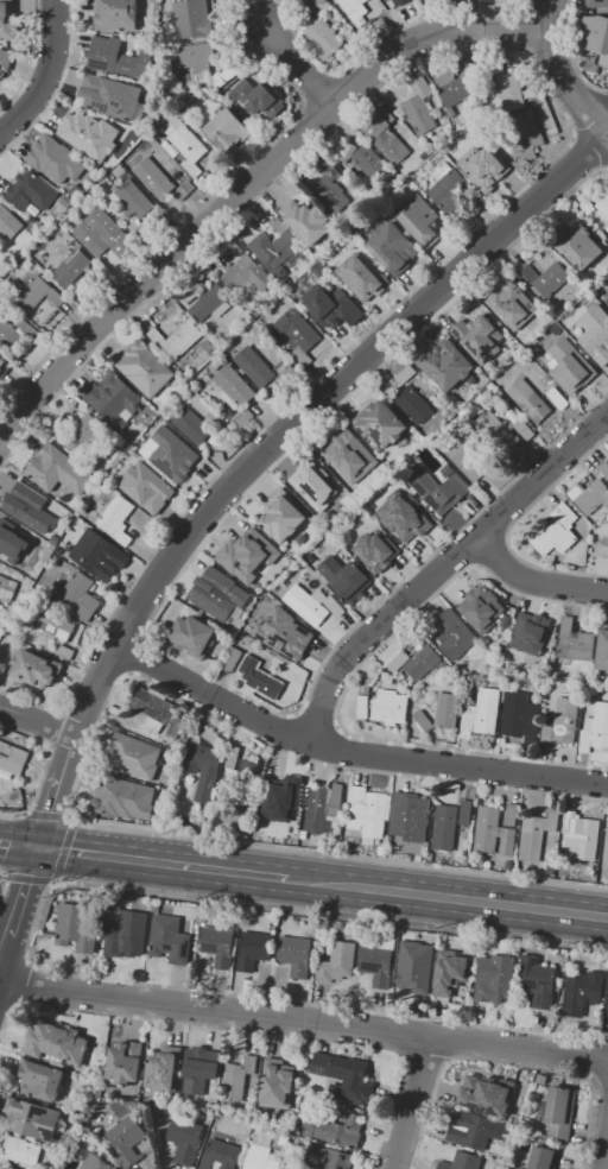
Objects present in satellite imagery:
building: (388, 0)
building: (411, 0)
building: (598, 4)
building: (116, 15)
building: (359, 15)
building: (190, 19)
building: (7, 21)
building: (321, 30)
building: (594, 36)
building: (194, 57)
building: (118, 58)
building: (9, 62)
road: (299, 65)
building: (0, 71)
road: (46, 75)
building: (184, 75)
road: (562, 75)
building: (224, 76)
building: (452, 89)
building: (517, 91)
building: (109, 96)
building: (260, 97)
building: (419, 107)
building: (227, 129)
building: (384, 134)
building: (87, 137)
building: (526, 137)
building: (186, 147)
building: (346, 152)
building: (55, 159)
building: (483, 160)
building: (370, 163)
building: (119, 171)
building: (153, 177)
road: (241, 187)
building: (330, 189)
building: (184, 190)
building: (450, 190)
building: (30, 191)
building: (75, 191)
building: (134, 198)
building: (65, 203)
building: (585, 207)
building: (603, 207)
building: (32, 210)
building: (419, 220)
building: (306, 221)
building: (8, 223)
building: (141, 227)
building: (607, 228)
building: (102, 234)
building: (261, 244)
building: (278, 246)
building: (575, 246)
building: (392, 248)
building: (71, 267)
building: (357, 273)
building: (246, 277)
building: (546, 279)
building: (84, 289)
building: (37, 293)
building: (188, 296)
building: (607, 302)
building: (210, 303)
building: (512, 304)
building: (331, 307)
building: (606, 318)
building: (565, 321)
building: (556, 329)
building: (15, 334)
building: (296, 336)
building: (479, 337)
building: (590, 339)
building: (176, 341)
building: (207, 346)
building: (571, 359)
building: (446, 365)
building: (214, 366)
building: (254, 367)
building: (5, 368)
building: (144, 368)
building: (283, 371)
building: (405, 375)
building: (233, 387)
building: (570, 387)
building: (557, 398)
building: (114, 399)
building: (528, 400)
building: (412, 405)
building: (242, 419)
building: (380, 424)
building: (192, 425)
building: (524, 430)
building: (495, 432)
building: (83, 435)
building: (217, 435)
road: (272, 453)
building: (465, 454)
building: (172, 455)
building: (349, 456)
building: (309, 468)
building: (603, 468)
building: (446, 470)
building: (61, 480)
building: (146, 488)
building: (437, 488)
building: (312, 495)
building: (589, 497)
building: (30, 506)
building: (58, 512)
building: (403, 516)
building: (281, 518)
building: (116, 519)
building: (241, 531)
building: (556, 531)
building: (11, 543)
building: (601, 549)
building: (57, 550)
building: (376, 551)
building: (253, 554)
building: (97, 555)
building: (310, 558)
road: (442, 568)
building: (344, 577)
road: (533, 586)
building: (7, 588)
building: (218, 594)
building: (78, 596)
building: (308, 604)
building: (335, 606)
building: (481, 608)
building: (285, 625)
building: (56, 632)
building: (530, 633)
building: (452, 634)
building: (192, 637)
building: (575, 643)
building: (602, 651)
building: (291, 652)
building: (232, 659)
building: (398, 662)
building: (422, 663)
building: (36, 669)
building: (259, 678)
building: (362, 707)
building: (389, 707)
building: (156, 710)
building: (439, 713)
building: (481, 714)
building: (520, 716)
building: (565, 720)
road: (38, 722)
building: (595, 728)
building: (545, 737)
road: (354, 753)
building: (134, 756)
road: (47, 757)
building: (232, 757)
building: (12, 759)
building: (204, 763)
building: (249, 781)
building: (12, 797)
building: (283, 798)
building: (123, 805)
building: (321, 807)
building: (367, 813)
building: (464, 813)
building: (511, 815)
road: (11, 816)
road: (46, 816)
building: (408, 816)
building: (147, 821)
building: (570, 821)
building: (443, 827)
building: (486, 829)
building: (536, 834)
building: (585, 839)
road: (12, 845)
building: (604, 848)
road: (19, 849)
road: (64, 849)
building: (381, 851)
traffic signals: (39, 853)
road: (95, 855)
road: (338, 857)
road: (223, 871)
road: (1, 876)
road: (28, 878)
road: (24, 893)
road: (452, 898)
building: (154, 908)
building: (323, 924)
building: (76, 928)
road: (31, 933)
building: (126, 935)
building: (169, 940)
building: (220, 943)
road: (5, 948)
building: (254, 949)
building: (296, 955)
building: (337, 962)
building: (379, 962)
building: (414, 968)
building: (451, 973)
building: (495, 978)
building: (538, 981)
road: (25, 984)
building: (579, 996)
building: (607, 1007)
road: (304, 1020)
road: (247, 1030)
road: (400, 1034)
road: (451, 1041)
building: (56, 1043)
building: (126, 1062)
road: (423, 1063)
road: (506, 1063)
building: (163, 1069)
building: (199, 1069)
building: (343, 1078)
building: (236, 1079)
building: (541, 1079)
building: (42, 1080)
building: (278, 1083)
building: (483, 1092)
road: (413, 1104)
building: (517, 1107)
building: (88, 1108)
building: (558, 1111)
building: (33, 1119)
building: (335, 1129)
building: (474, 1130)
building: (285, 1138)
building: (126, 1139)
building: (185, 1139)
building: (70, 1142)
building: (20, 1151)
road: (606, 1152)
building: (260, 1155)
building: (220, 1156)
building: (541, 1157)
building: (328, 1158)
building: (94, 1162)
building: (463, 1162)

